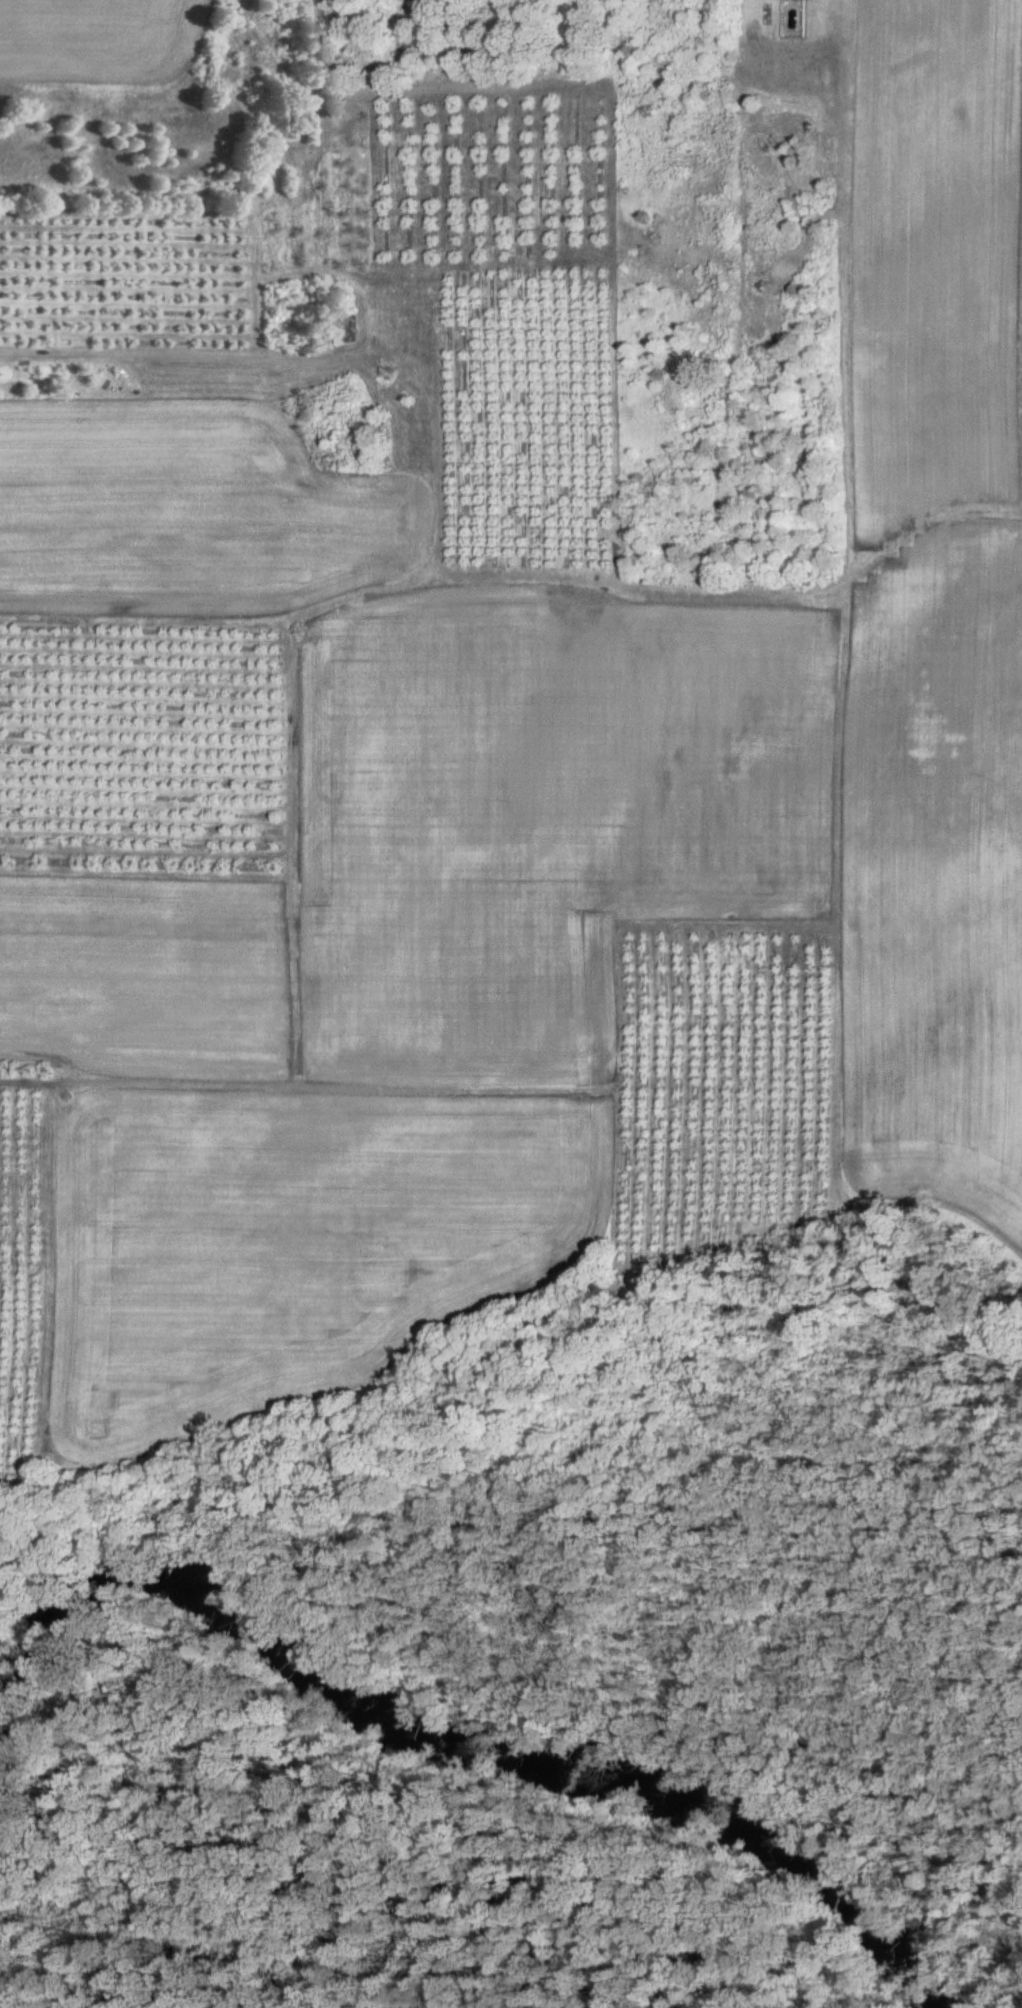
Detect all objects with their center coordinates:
river: (446, 1741)

